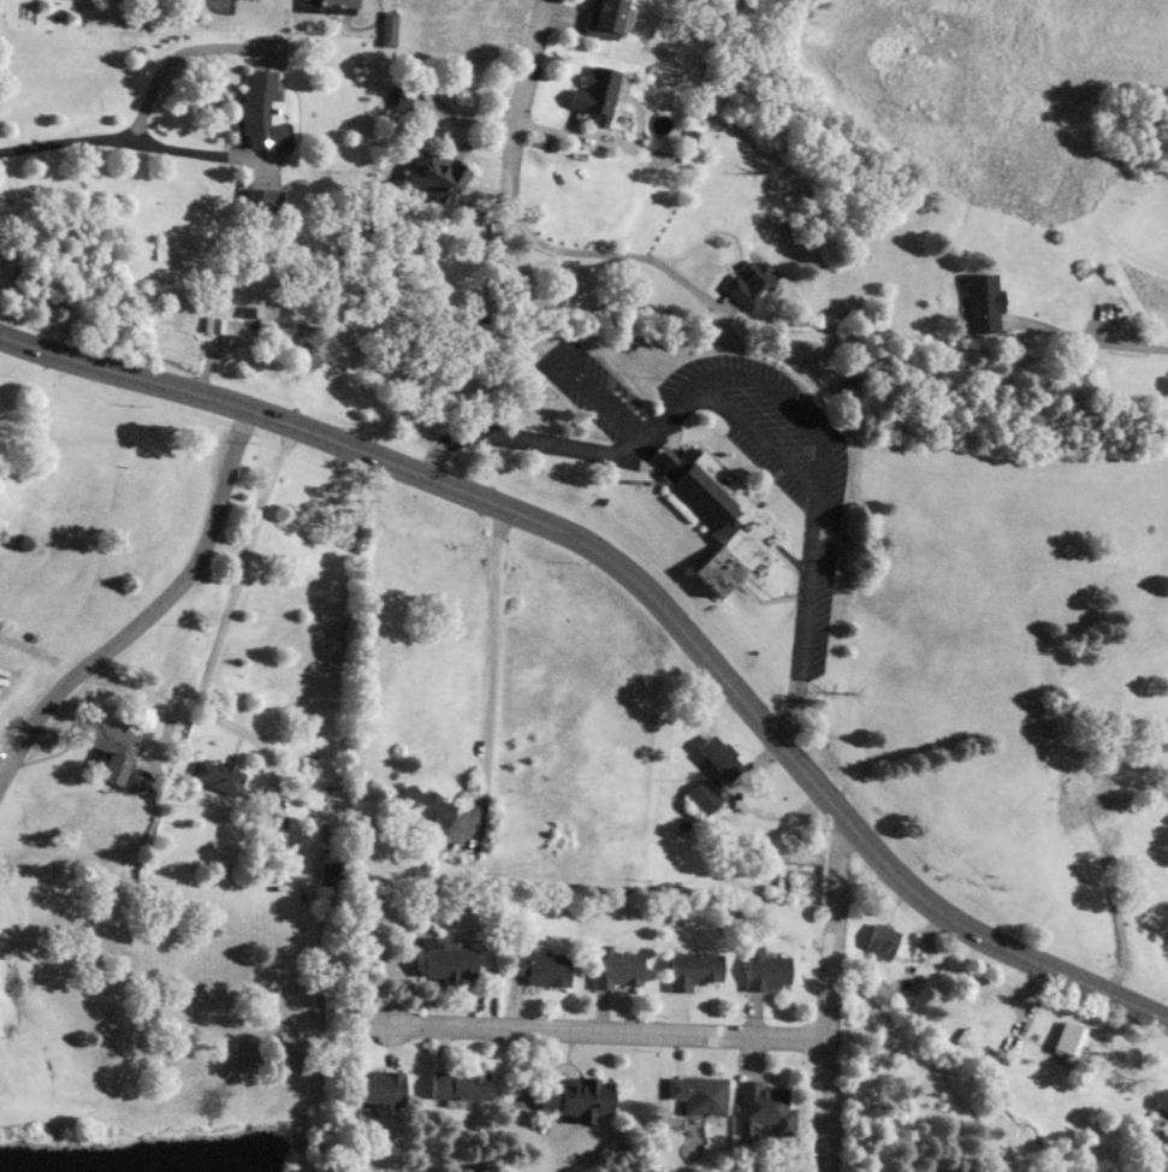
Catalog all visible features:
building: (167, 0)
building: (327, 6)
building: (601, 18)
building: (387, 29)
road: (171, 57)
road: (526, 67)
building: (593, 93)
building: (261, 111)
road: (121, 138)
building: (434, 174)
building: (261, 200)
road: (569, 251)
building: (748, 285)
building: (982, 303)
building: (219, 325)
building: (308, 344)
road: (1134, 348)
road: (734, 420)
building: (717, 515)
road: (642, 586)
road: (149, 609)
road: (28, 649)
road: (488, 669)
road: (159, 699)
building: (107, 745)
building: (719, 758)
building: (217, 775)
building: (1078, 782)
building: (1151, 785)
building: (705, 798)
building: (422, 809)
building: (881, 939)
building: (445, 960)
building: (615, 967)
building: (539, 969)
building: (690, 969)
building: (763, 970)
road: (817, 992)
road: (603, 1034)
building: (1069, 1038)
building: (456, 1085)
building: (379, 1089)
building: (696, 1094)
building: (575, 1099)
building: (1163, 1100)
building: (763, 1109)

